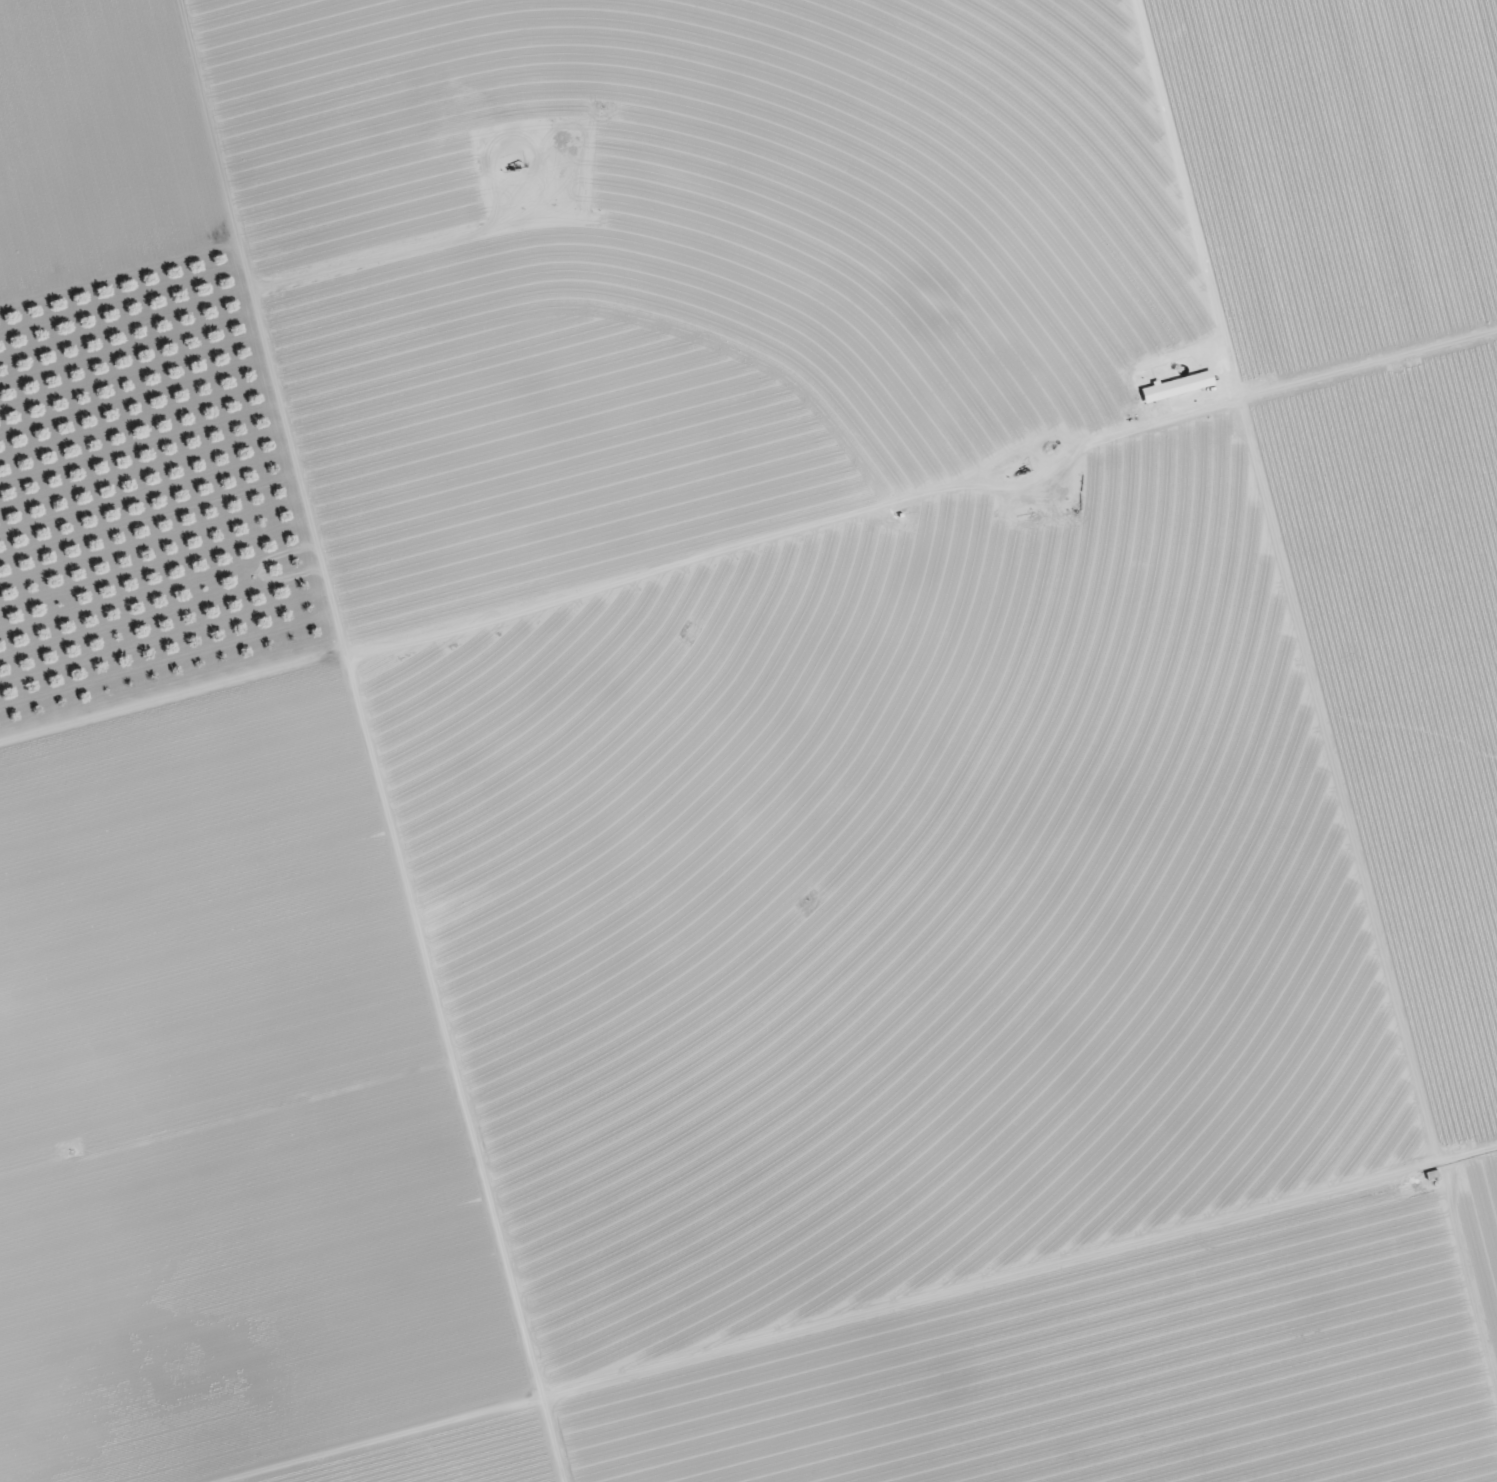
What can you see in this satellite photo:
building: (1150, 393)

